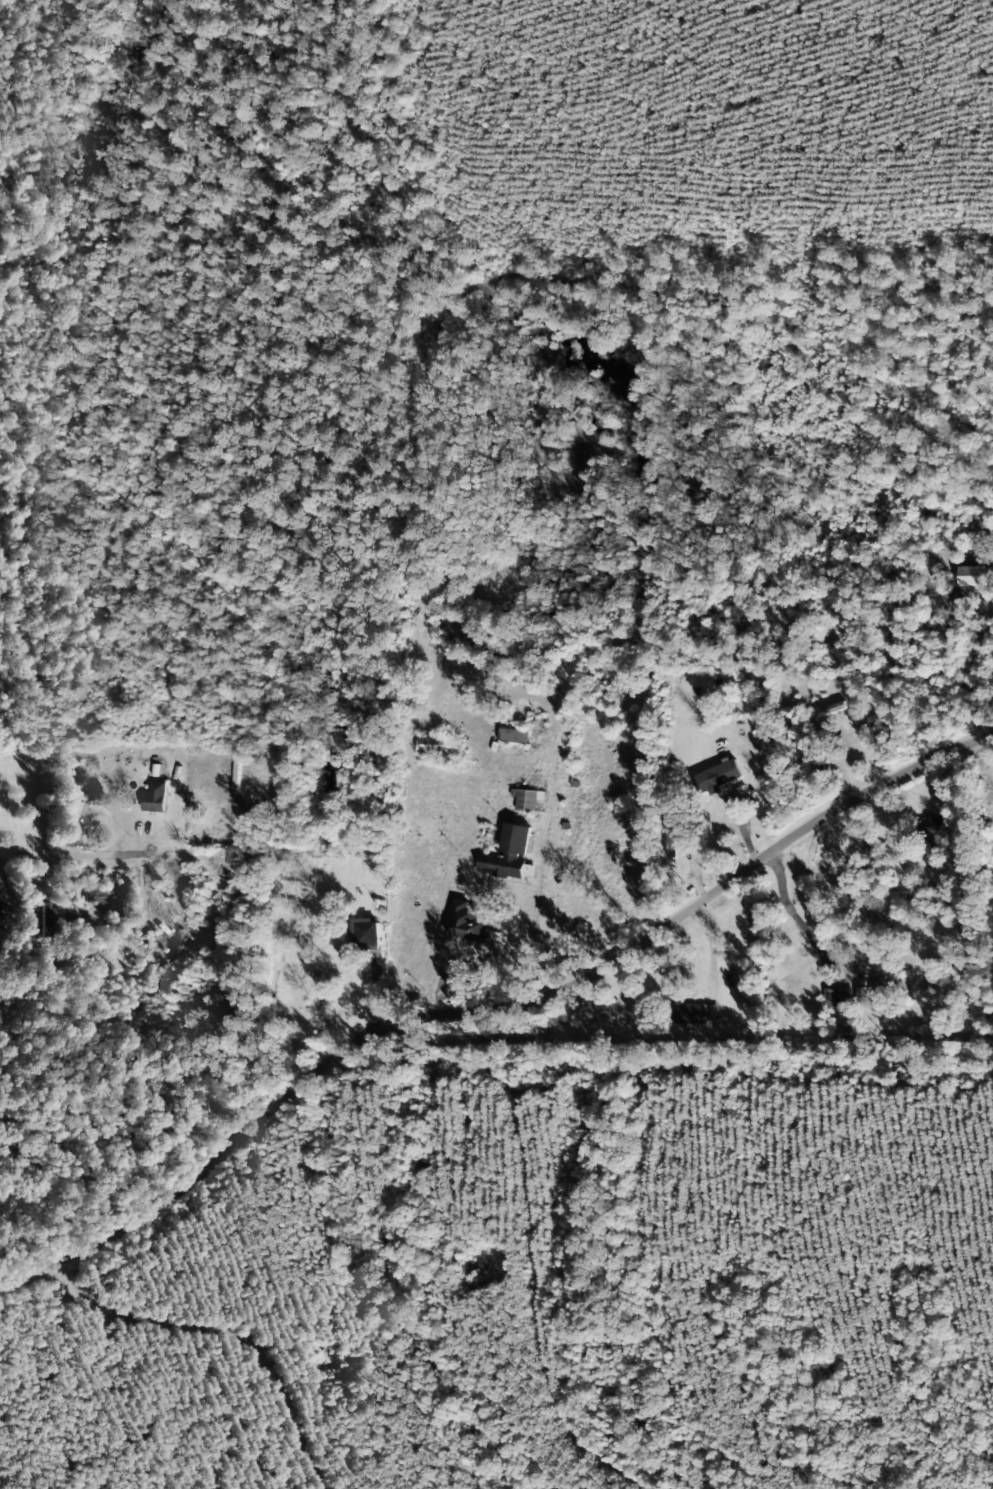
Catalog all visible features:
building: (969, 583)
building: (440, 744)
building: (718, 776)
building: (155, 797)
building: (932, 827)
road: (77, 854)
building: (510, 854)
building: (43, 920)
building: (467, 922)
building: (369, 932)
building: (942, 980)
building: (838, 995)
building: (864, 996)
road: (491, 1009)
building: (696, 1012)
road: (519, 1123)

